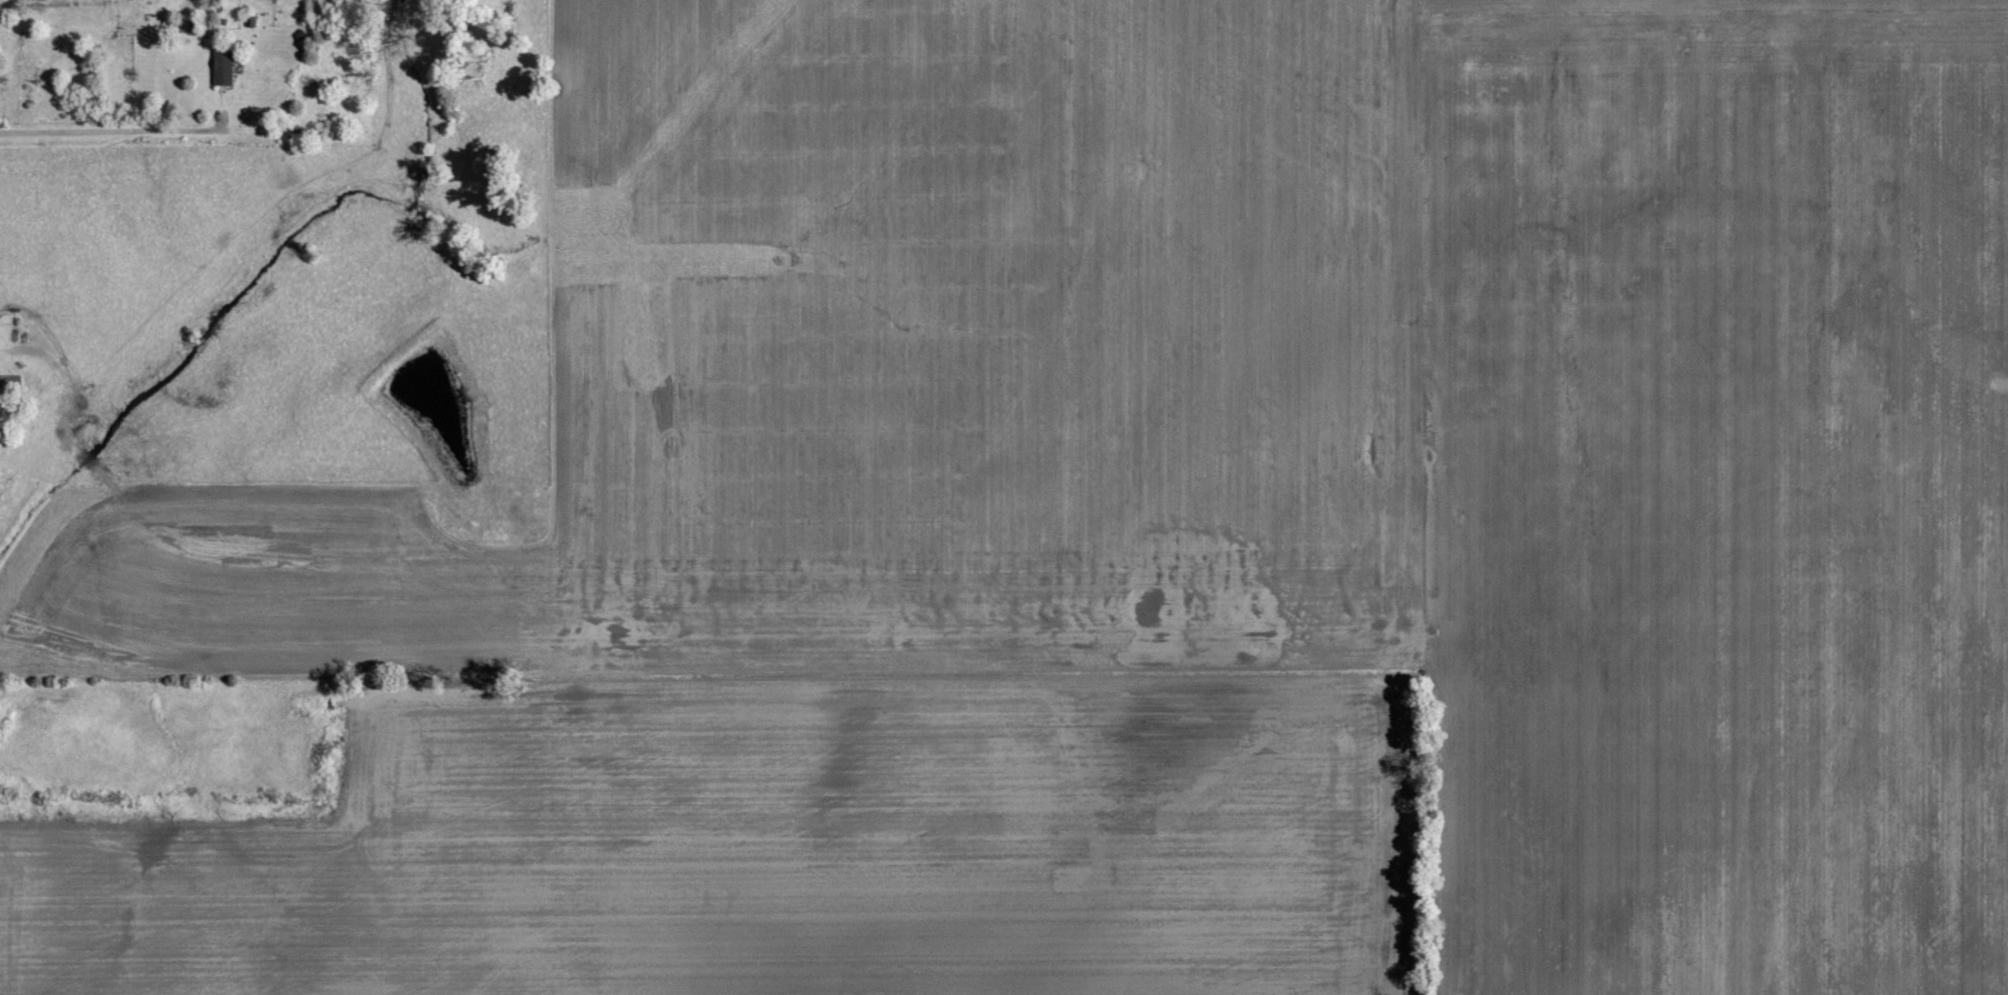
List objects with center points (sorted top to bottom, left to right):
building: (223, 66)
building: (12, 385)
crop: (1278, 427)
crop: (776, 843)

